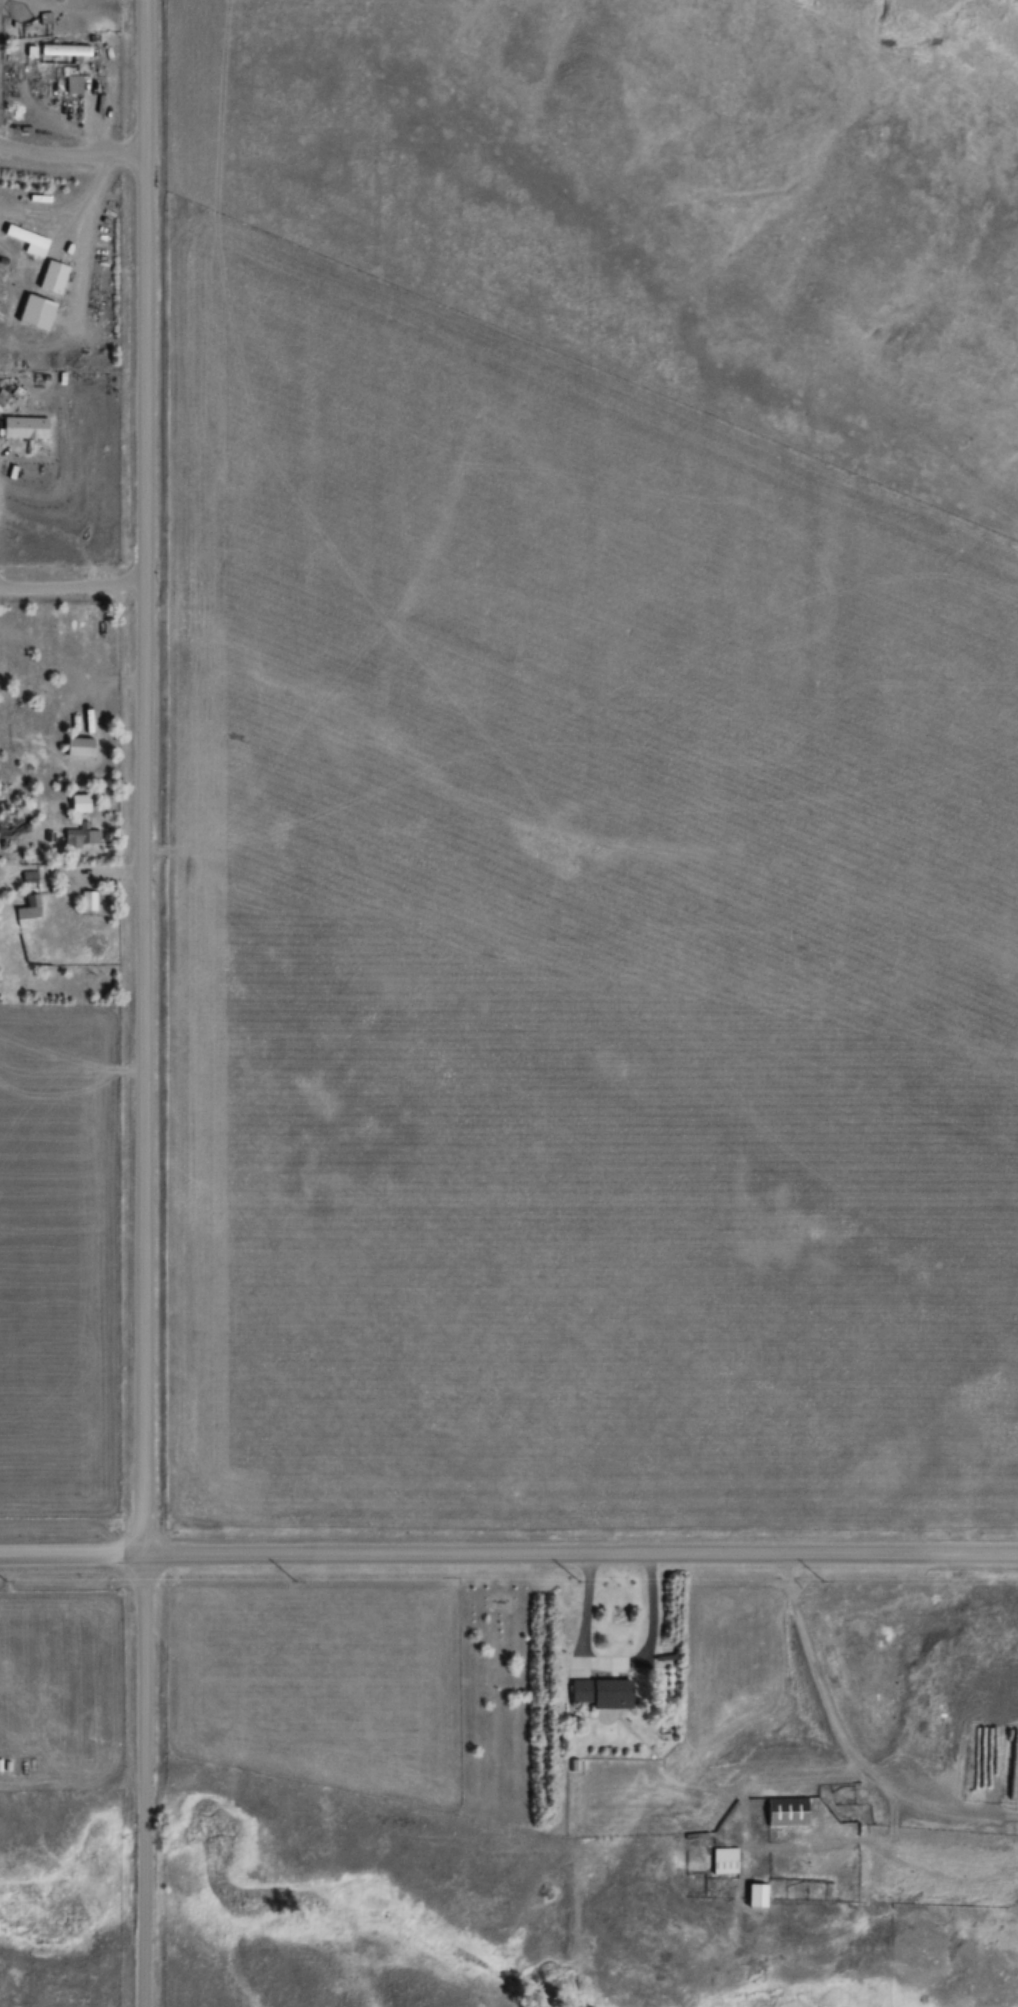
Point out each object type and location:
building: (69, 49)
building: (77, 83)
road: (71, 153)
building: (33, 241)
building: (57, 276)
building: (27, 426)
road: (72, 586)
building: (83, 746)
road: (143, 775)
building: (83, 803)
building: (52, 835)
building: (83, 835)
building: (32, 877)
building: (91, 900)
building: (32, 908)
road: (508, 1552)
building: (607, 1692)
road: (141, 1778)
building: (790, 1812)
building: (727, 1861)
building: (760, 1895)

